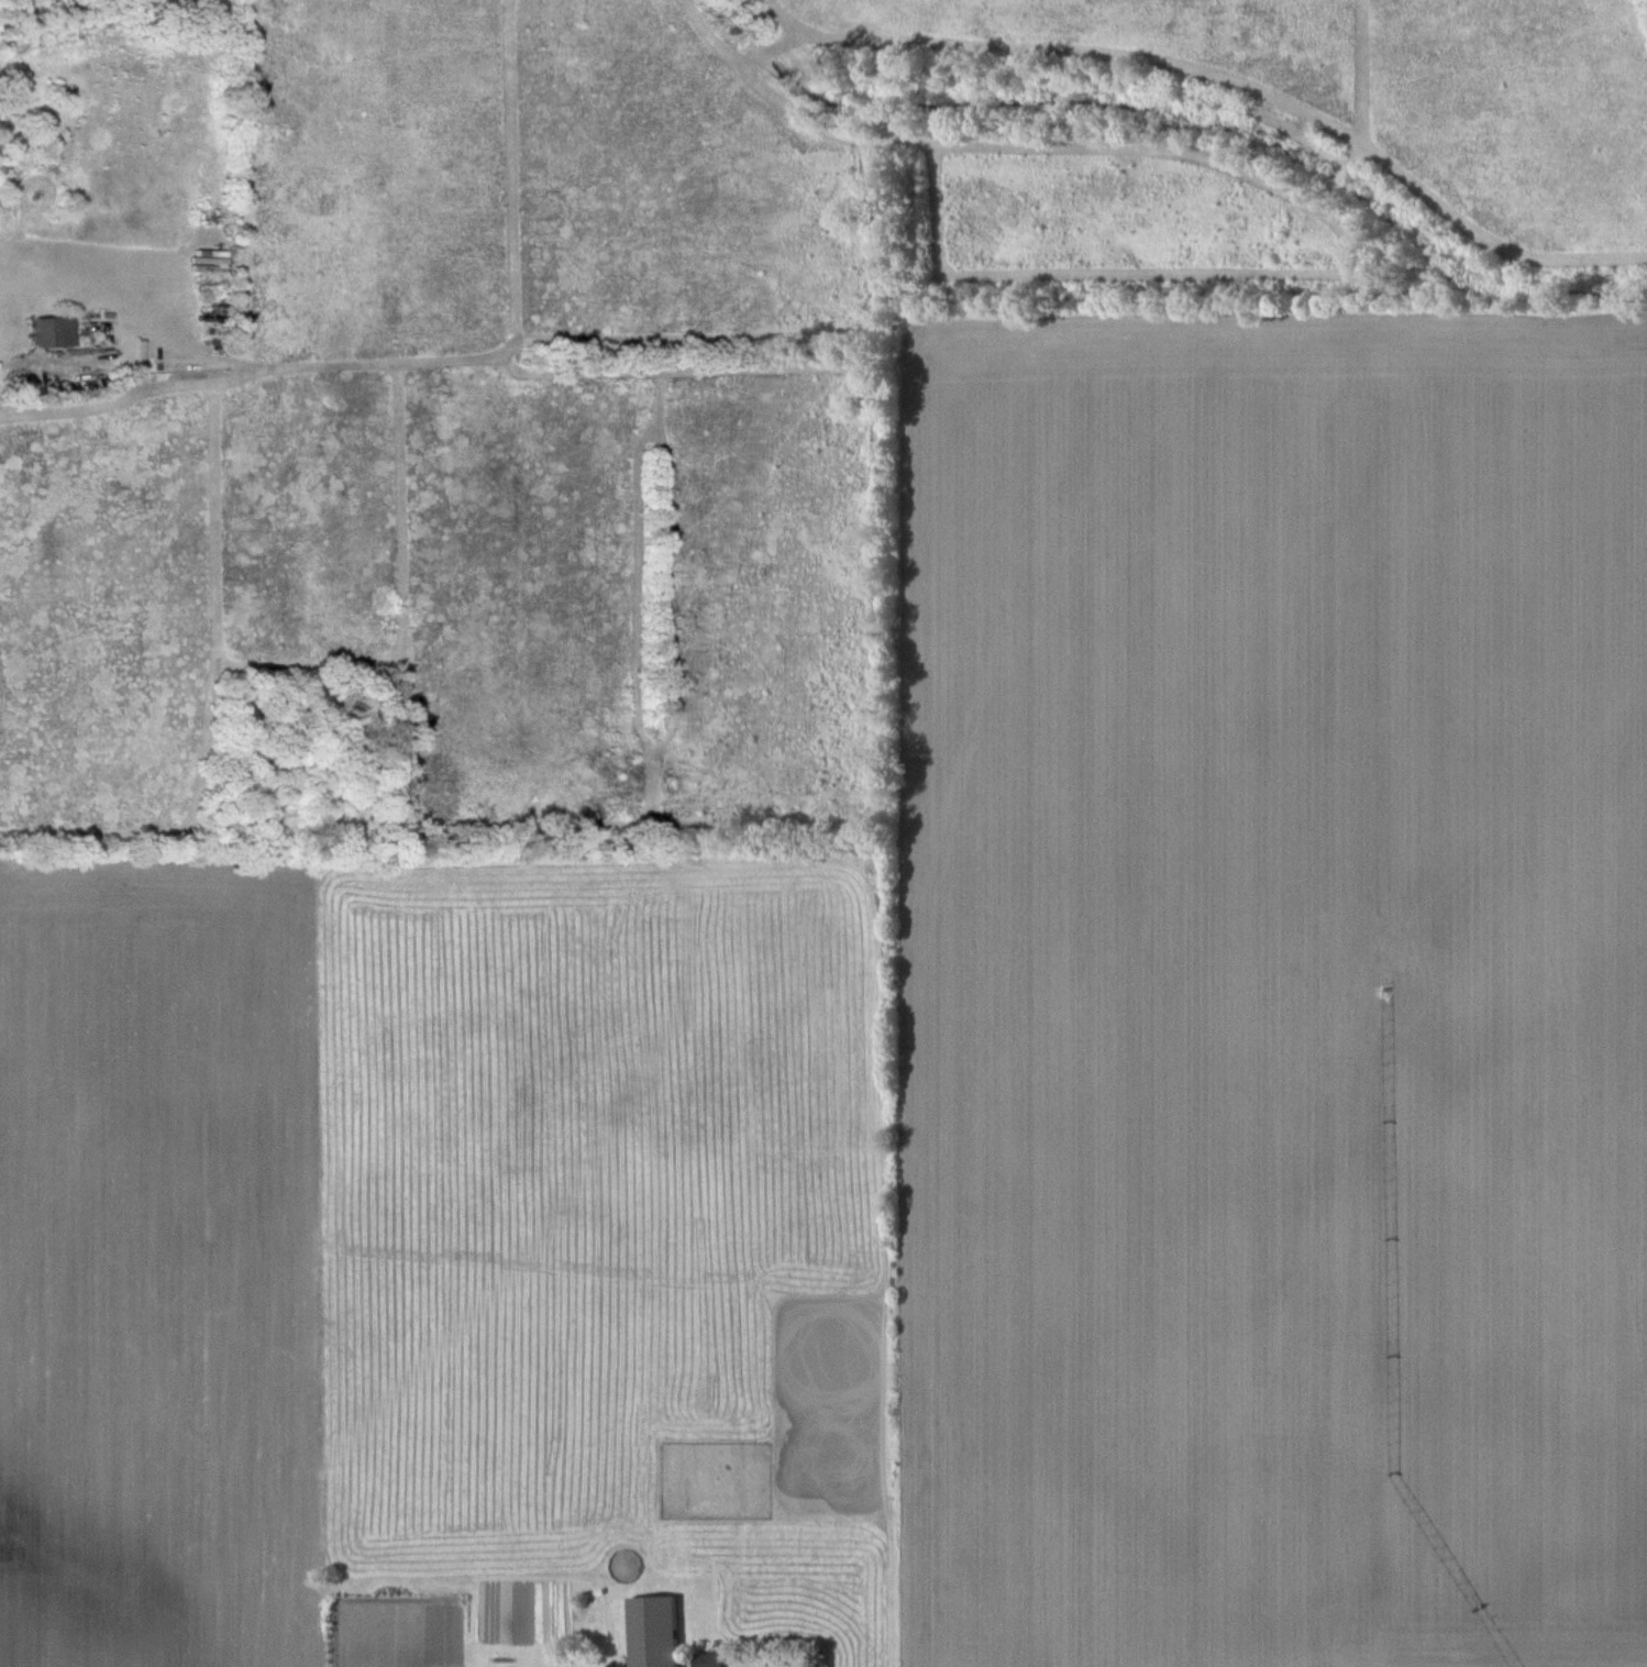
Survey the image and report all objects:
building: (55, 332)
building: (652, 1631)
building: (706, 1659)

